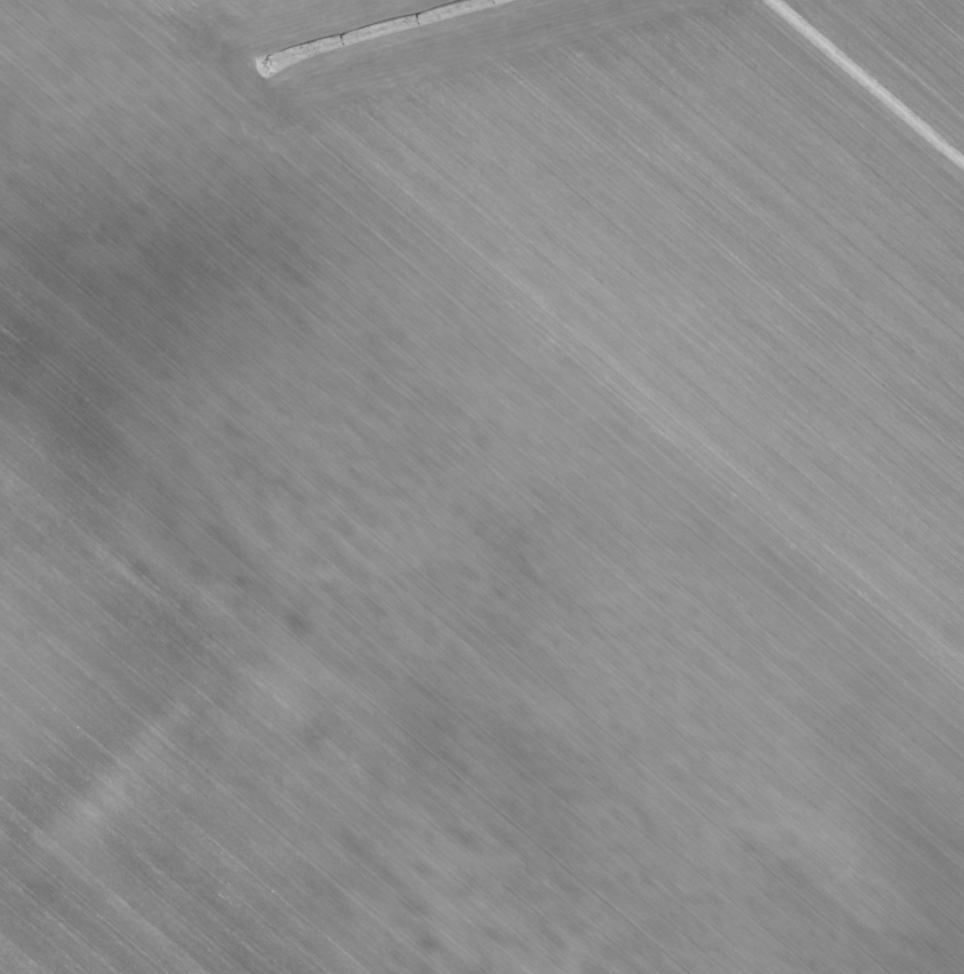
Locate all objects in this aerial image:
road: (319, 582)
road: (594, 764)

